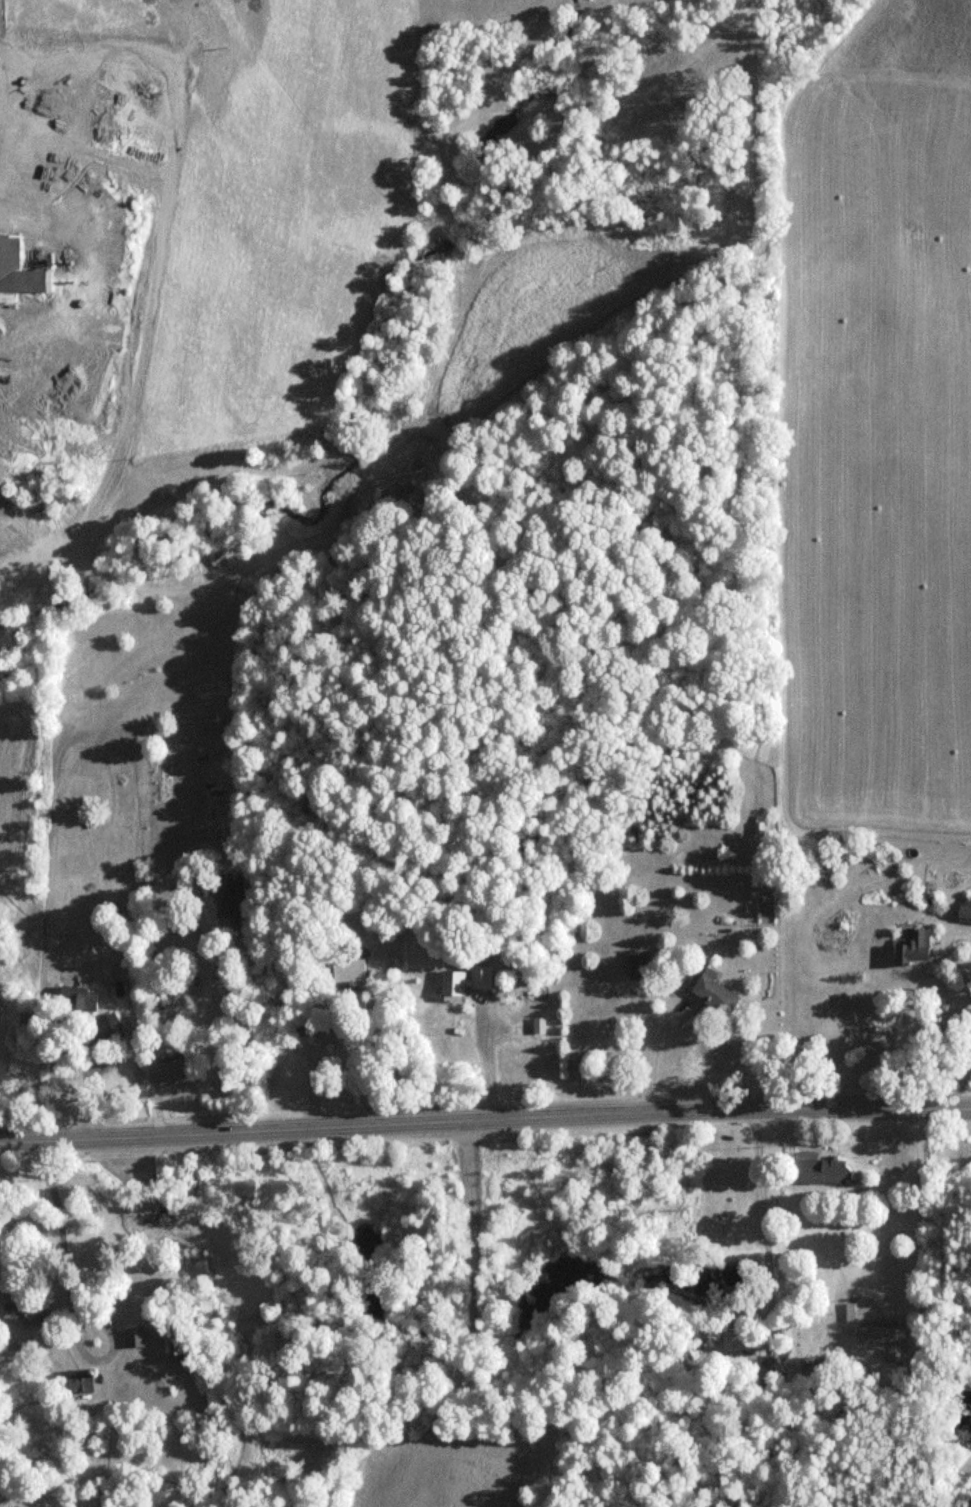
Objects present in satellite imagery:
building: (18, 270)
building: (396, 494)
building: (227, 897)
building: (964, 908)
building: (918, 943)
building: (636, 964)
building: (348, 970)
building: (464, 984)
building: (713, 993)
road: (485, 1113)
building: (815, 1172)
building: (20, 1311)
building: (875, 1314)
building: (132, 1337)
building: (169, 1343)
building: (893, 1344)
building: (78, 1383)

